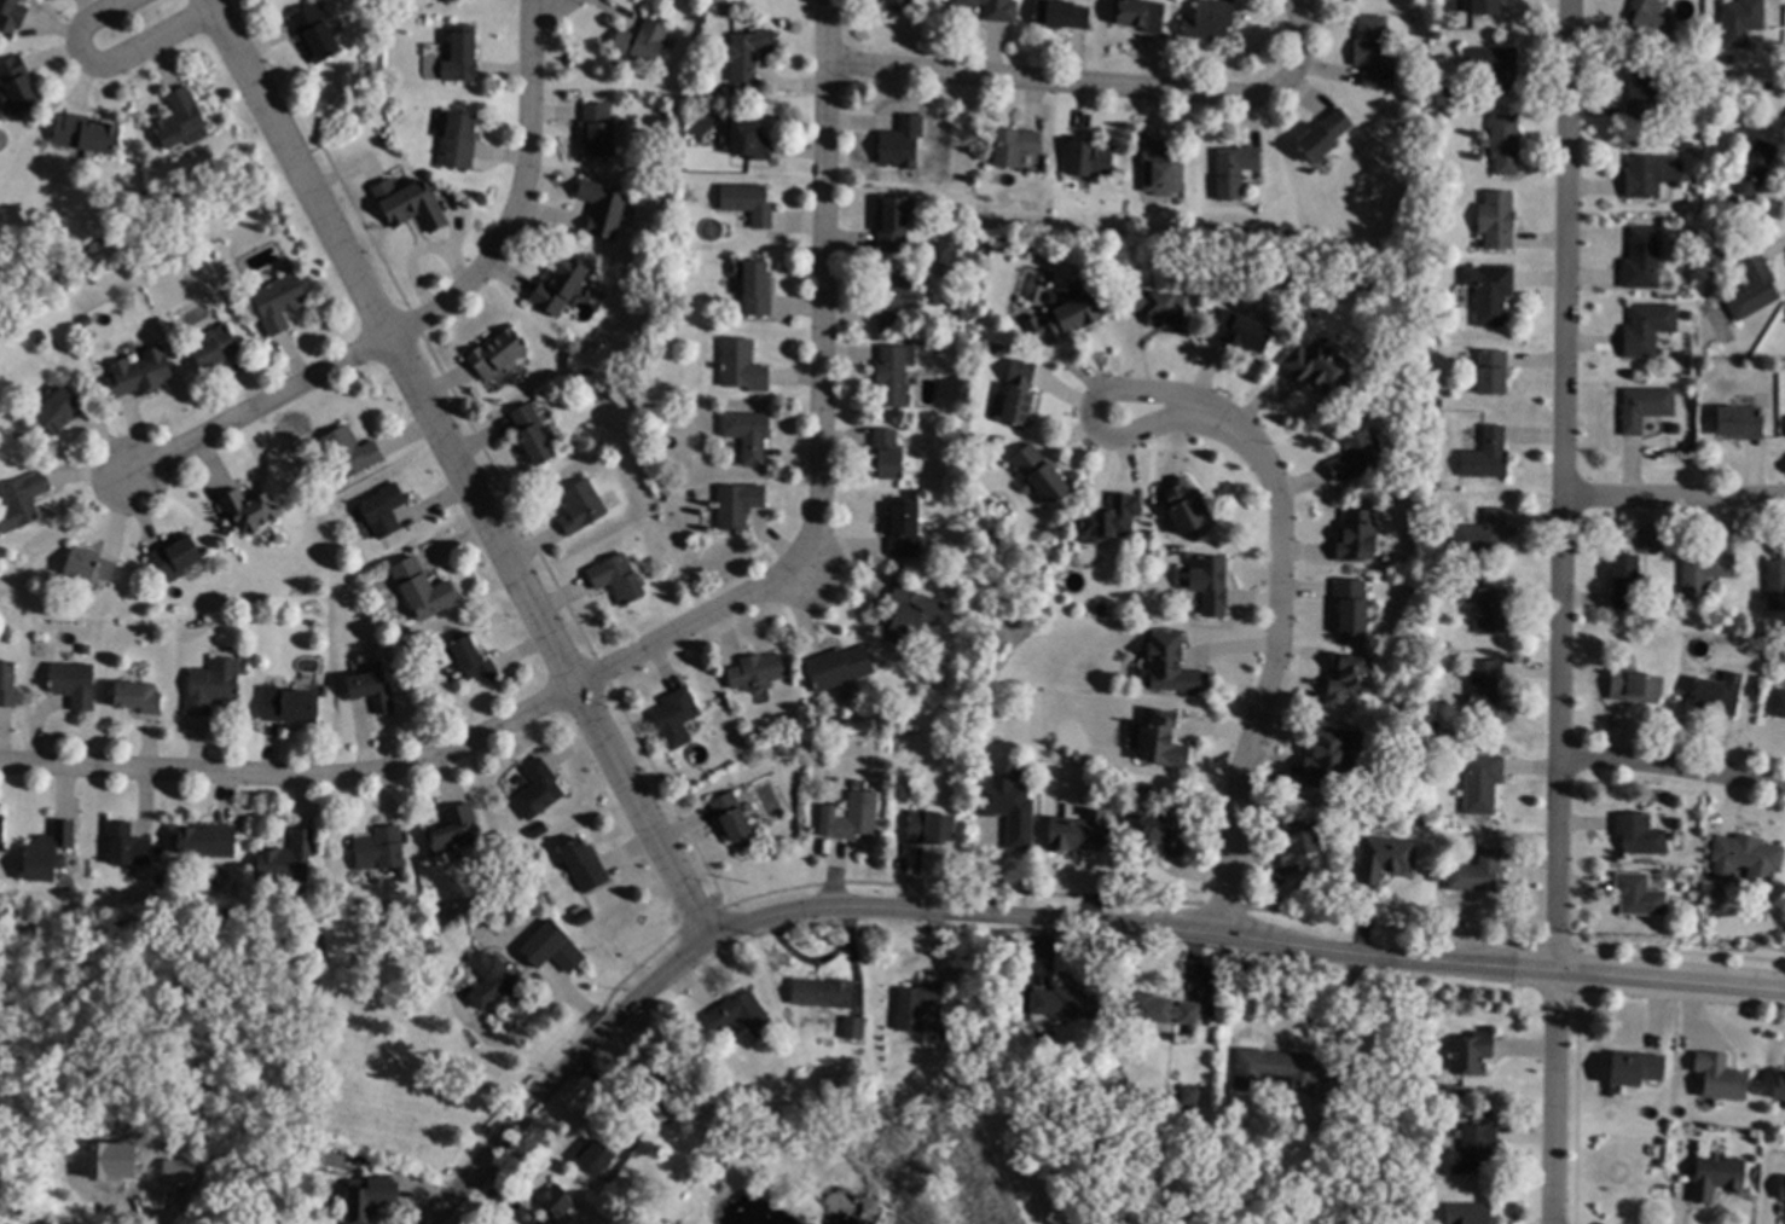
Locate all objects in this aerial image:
building: (900, 4)
building: (1486, 7)
building: (995, 8)
building: (13, 11)
building: (1061, 14)
building: (1141, 14)
building: (1211, 21)
building: (1651, 21)
building: (1743, 22)
building: (318, 34)
building: (643, 41)
building: (1636, 42)
building: (1373, 50)
building: (464, 52)
building: (748, 53)
building: (1729, 59)
road: (109, 65)
building: (1494, 66)
building: (18, 85)
road: (1102, 86)
building: (1642, 94)
building: (1448, 112)
building: (181, 118)
building: (1691, 121)
building: (599, 130)
building: (86, 134)
building: (1326, 135)
building: (750, 138)
road: (280, 139)
building: (1750, 140)
building: (459, 141)
building: (903, 143)
building: (1506, 144)
building: (1688, 146)
building: (1018, 149)
building: (1091, 158)
building: (1757, 167)
building: (1161, 169)
building: (1235, 170)
building: (1650, 174)
road: (515, 196)
building: (749, 203)
building: (412, 204)
building: (603, 208)
building: (1497, 220)
building: (894, 222)
building: (1644, 260)
building: (561, 286)
building: (755, 286)
building: (1754, 288)
building: (1491, 292)
building: (899, 296)
building: (280, 302)
building: (1159, 306)
building: (1071, 318)
building: (1648, 329)
building: (1238, 330)
building: (216, 348)
building: (499, 354)
building: (1321, 365)
building: (743, 366)
building: (1488, 370)
building: (141, 373)
building: (896, 375)
building: (1020, 393)
building: (1646, 407)
building: (62, 408)
road: (259, 410)
road: (816, 416)
road: (1089, 420)
building: (1740, 422)
building: (533, 434)
building: (749, 434)
building: (350, 453)
building: (888, 454)
building: (1358, 456)
building: (1488, 456)
building: (1041, 474)
building: (1437, 482)
road: (1675, 487)
building: (1391, 497)
building: (27, 498)
building: (738, 505)
building: (583, 506)
building: (1189, 509)
building: (250, 510)
building: (386, 510)
building: (1435, 510)
building: (1112, 517)
building: (905, 527)
building: (6, 532)
building: (1483, 533)
building: (1358, 536)
building: (176, 557)
building: (91, 565)
building: (1704, 573)
building: (619, 579)
building: (1624, 581)
building: (1211, 582)
building: (1439, 584)
building: (1777, 584)
building: (424, 590)
building: (1352, 604)
road: (532, 608)
building: (1102, 610)
building: (1491, 610)
road: (1563, 611)
building: (912, 615)
building: (1661, 621)
road: (1274, 656)
building: (473, 660)
building: (1173, 666)
building: (840, 667)
building: (758, 672)
building: (1349, 678)
building: (8, 684)
building: (75, 684)
building: (1635, 686)
building: (211, 689)
building: (372, 690)
building: (1485, 690)
building: (1720, 694)
building: (139, 696)
building: (1778, 702)
building: (292, 707)
building: (677, 718)
building: (1164, 739)
building: (1331, 754)
road: (1671, 772)
road: (296, 779)
building: (1483, 783)
building: (539, 789)
building: (1433, 808)
building: (1010, 810)
building: (858, 816)
building: (735, 820)
building: (2, 825)
building: (932, 828)
building: (1159, 829)
building: (453, 833)
building: (1079, 833)
building: (1641, 834)
building: (208, 840)
building: (128, 845)
building: (1300, 845)
building: (900, 848)
building: (381, 849)
building: (50, 852)
building: (1750, 855)
building: (1385, 857)
building: (289, 859)
building: (585, 864)
building: (1477, 872)
building: (1436, 876)
building: (1640, 895)
building: (583, 913)
road: (1044, 921)
building: (1779, 935)
building: (551, 947)
building: (494, 979)
road: (535, 988)
building: (823, 992)
building: (1070, 1003)
building: (917, 1005)
building: (1161, 1009)
building: (743, 1015)
building: (1064, 1020)
building: (854, 1028)
road: (498, 1044)
building: (1472, 1052)
building: (1632, 1069)
building: (1288, 1073)
park: (981, 1075)
building: (1721, 1075)
building: (663, 1085)
building: (1778, 1086)
building: (738, 1094)
building: (1193, 1103)
building: (1090, 1126)
building: (1474, 1149)
building: (597, 1156)
building: (365, 1159)
building: (120, 1170)
building: (1717, 1176)
building: (152, 1187)
building: (1780, 1189)
building: (371, 1197)
building: (1390, 1199)
building: (340, 1201)
building: (560, 1203)
building: (1356, 1206)
building: (1470, 1213)
building: (551, 1223)

